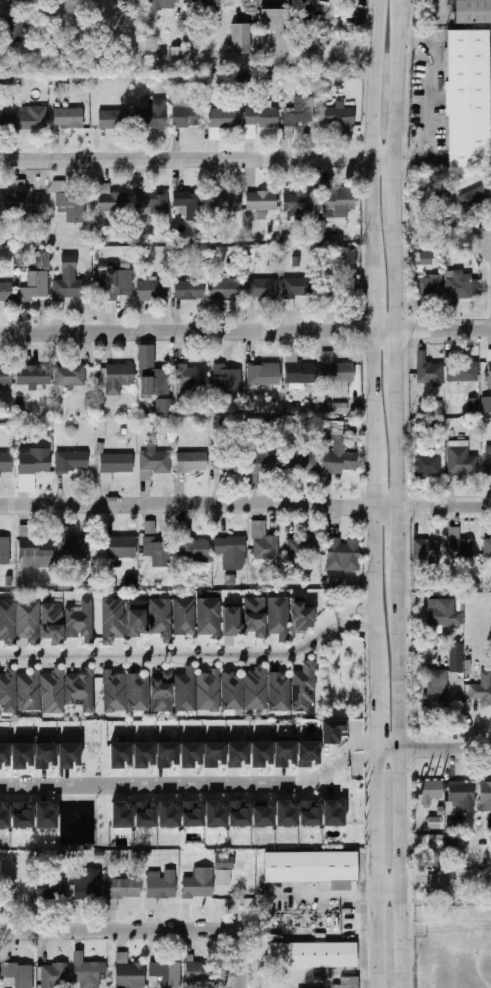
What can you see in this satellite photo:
building: (25, 2)
building: (164, 4)
building: (206, 5)
road: (404, 8)
building: (472, 11)
building: (13, 30)
building: (241, 39)
building: (275, 39)
building: (306, 51)
building: (176, 55)
road: (400, 84)
road: (428, 98)
building: (469, 99)
building: (301, 111)
road: (377, 112)
building: (188, 114)
building: (262, 115)
building: (338, 116)
building: (68, 117)
building: (150, 117)
building: (33, 118)
building: (225, 118)
building: (5, 119)
building: (112, 119)
road: (198, 153)
road: (398, 192)
building: (472, 197)
building: (337, 198)
building: (29, 200)
building: (112, 200)
building: (262, 201)
building: (153, 202)
building: (225, 202)
building: (299, 202)
building: (5, 203)
building: (189, 203)
building: (69, 208)
building: (442, 223)
building: (320, 230)
building: (346, 256)
building: (425, 257)
building: (44, 261)
building: (69, 277)
building: (346, 279)
road: (377, 279)
road: (400, 281)
building: (116, 284)
building: (429, 285)
building: (459, 285)
building: (35, 287)
building: (153, 289)
building: (226, 289)
building: (263, 289)
building: (297, 289)
building: (189, 290)
building: (6, 291)
road: (245, 333)
road: (401, 361)
building: (336, 370)
building: (428, 370)
building: (462, 372)
building: (489, 372)
building: (301, 373)
building: (5, 375)
building: (33, 375)
building: (70, 375)
building: (264, 375)
building: (191, 376)
building: (118, 378)
building: (155, 379)
building: (227, 379)
road: (378, 382)
building: (486, 404)
building: (472, 405)
building: (163, 406)
building: (339, 407)
road: (401, 449)
building: (340, 457)
building: (300, 459)
building: (488, 460)
building: (34, 461)
building: (191, 461)
building: (265, 461)
building: (461, 461)
building: (6, 462)
building: (72, 462)
building: (153, 463)
building: (115, 465)
building: (230, 466)
building: (428, 466)
road: (379, 470)
road: (245, 504)
building: (150, 527)
building: (263, 542)
building: (72, 544)
building: (191, 545)
building: (459, 545)
building: (303, 546)
building: (487, 546)
building: (122, 547)
building: (5, 550)
building: (35, 551)
building: (158, 551)
building: (231, 551)
building: (426, 551)
building: (343, 554)
road: (379, 561)
road: (402, 563)
building: (63, 583)
road: (359, 609)
building: (440, 613)
building: (185, 615)
building: (161, 616)
building: (209, 616)
building: (278, 616)
building: (302, 616)
building: (255, 617)
building: (136, 618)
building: (113, 619)
building: (8, 620)
building: (28, 620)
building: (80, 620)
building: (232, 621)
building: (52, 622)
road: (363, 625)
road: (379, 629)
road: (177, 656)
building: (456, 658)
building: (255, 688)
building: (304, 688)
building: (81, 689)
building: (482, 689)
building: (8, 690)
building: (29, 690)
building: (185, 690)
building: (209, 690)
building: (232, 690)
building: (437, 690)
building: (52, 691)
building: (114, 692)
building: (138, 692)
building: (162, 692)
building: (279, 692)
road: (380, 695)
building: (332, 730)
road: (433, 745)
road: (370, 747)
building: (284, 753)
building: (307, 753)
building: (4, 754)
building: (143, 754)
building: (166, 754)
building: (190, 754)
building: (214, 754)
building: (237, 754)
building: (260, 754)
building: (21, 755)
building: (44, 755)
building: (68, 755)
building: (119, 755)
building: (431, 791)
road: (188, 793)
building: (462, 793)
building: (486, 793)
road: (403, 802)
building: (314, 809)
building: (333, 813)
building: (168, 814)
building: (192, 814)
building: (216, 814)
building: (239, 814)
building: (262, 814)
building: (286, 814)
building: (22, 815)
building: (45, 815)
building: (121, 815)
building: (145, 815)
building: (4, 817)
building: (434, 823)
building: (489, 825)
building: (455, 826)
building: (438, 856)
building: (224, 862)
building: (311, 867)
road: (375, 867)
building: (223, 877)
road: (390, 880)
building: (198, 883)
building: (88, 884)
building: (162, 885)
building: (125, 888)
building: (438, 889)
building: (49, 891)
road: (361, 928)
road: (312, 929)
road: (117, 932)
building: (314, 957)
road: (244, 959)
building: (87, 972)
building: (201, 972)
building: (129, 973)
building: (21, 974)
building: (167, 974)
building: (54, 976)
building: (348, 983)

